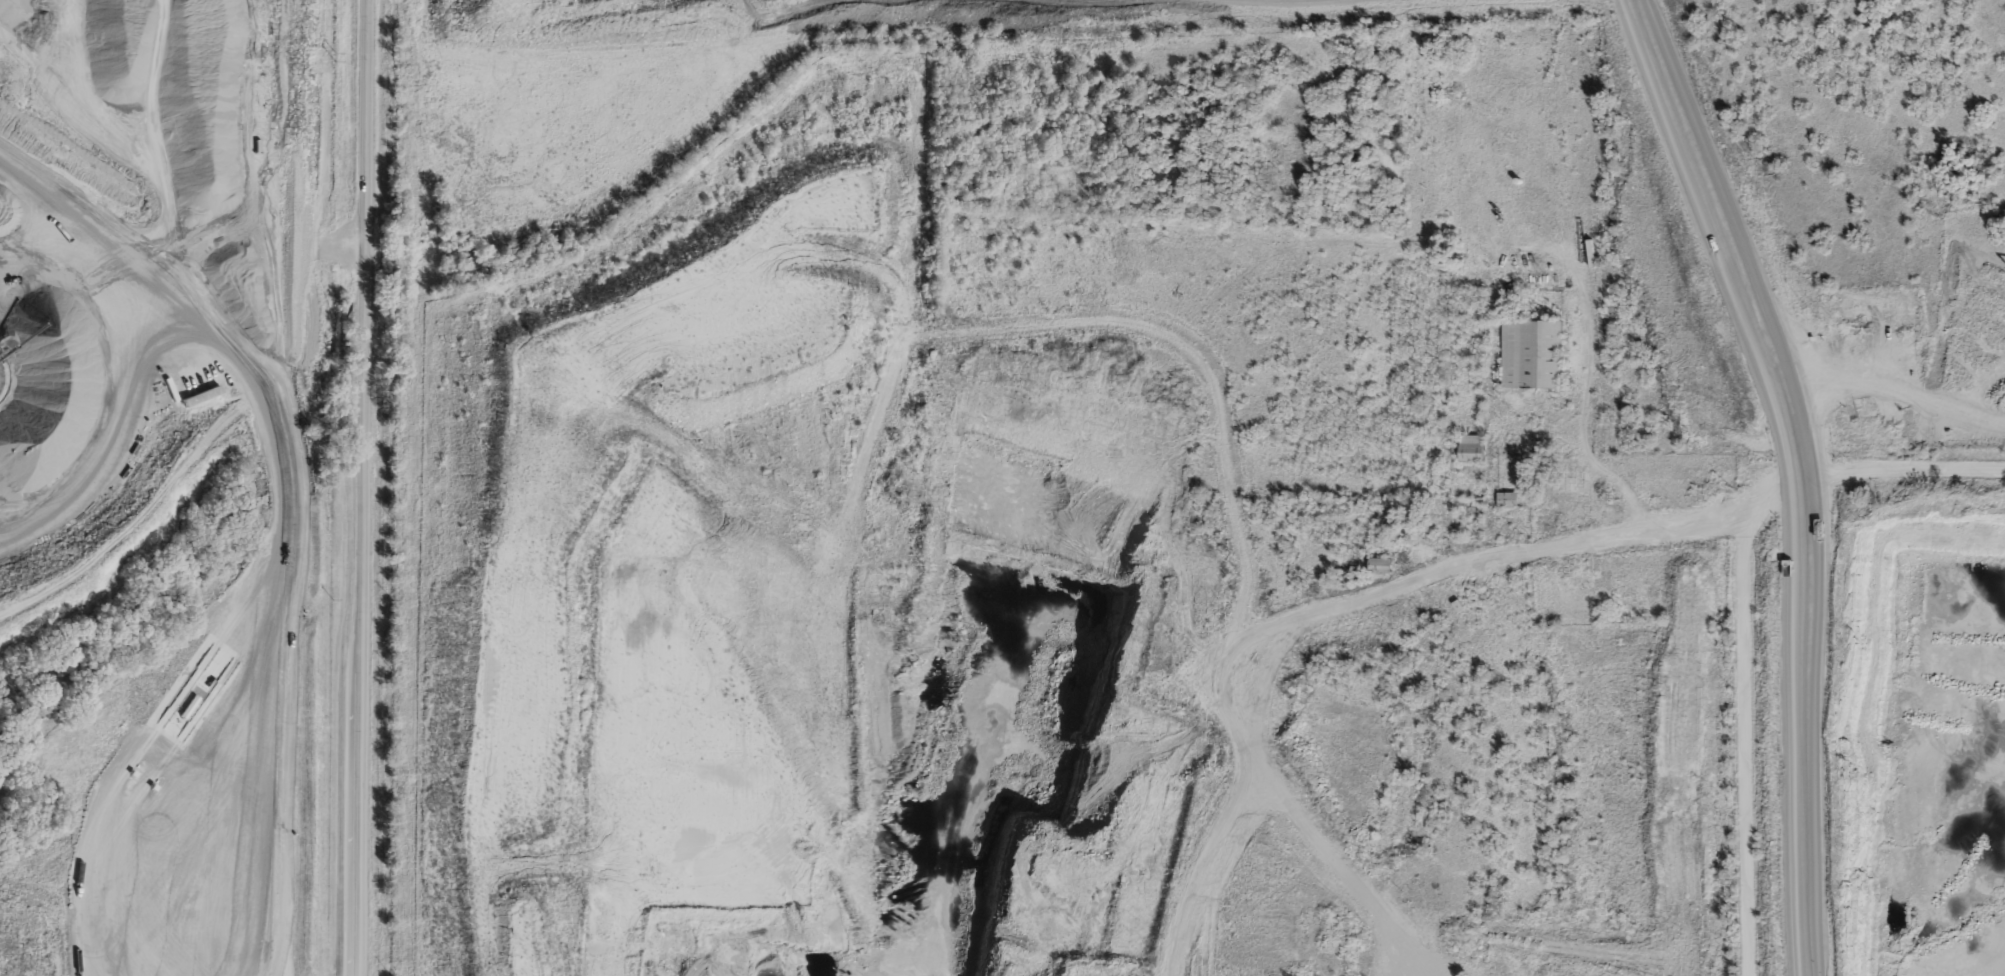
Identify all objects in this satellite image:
road: (1723, 234)
building: (1533, 352)
building: (1414, 411)
building: (1473, 447)
road: (1900, 468)
building: (1577, 477)
road: (310, 486)
road: (363, 488)
building: (1508, 498)
quarry: (502, 536)
building: (1993, 550)
road: (1522, 551)
building: (1381, 563)
building: (1580, 570)
road: (1743, 714)
road: (1801, 725)
quarry: (1904, 761)

